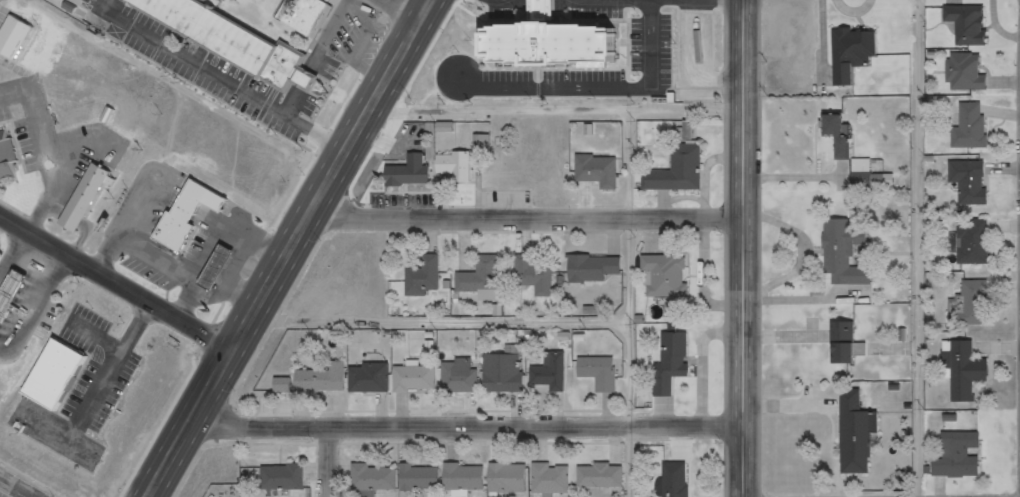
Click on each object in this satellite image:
road: (403, 9)
building: (309, 16)
building: (963, 23)
building: (18, 40)
building: (232, 41)
building: (552, 47)
building: (704, 51)
building: (851, 52)
building: (961, 72)
road: (553, 113)
building: (966, 126)
building: (836, 135)
building: (477, 141)
building: (10, 161)
building: (860, 166)
building: (460, 167)
building: (604, 173)
building: (415, 175)
building: (684, 175)
building: (966, 181)
building: (211, 198)
building: (92, 200)
building: (193, 211)
road: (526, 219)
building: (179, 234)
building: (968, 241)
road: (289, 248)
road: (743, 248)
road: (923, 248)
building: (839, 251)
building: (222, 270)
gas station: (222, 270)
building: (597, 272)
building: (418, 276)
building: (541, 276)
building: (488, 279)
building: (670, 279)
road: (117, 281)
building: (429, 281)
building: (14, 300)
gas station: (14, 300)
building: (966, 303)
road: (636, 305)
road: (444, 322)
building: (839, 342)
building: (677, 366)
building: (959, 368)
building: (507, 372)
building: (558, 374)
building: (606, 375)
building: (61, 376)
building: (467, 379)
building: (377, 380)
building: (329, 382)
building: (420, 382)
building: (289, 387)
road: (535, 426)
road: (260, 428)
building: (851, 432)
building: (953, 455)
road: (326, 462)
building: (424, 478)
building: (607, 480)
building: (290, 481)
building: (379, 481)
building: (470, 481)
building: (515, 481)
building: (682, 481)
building: (557, 482)

